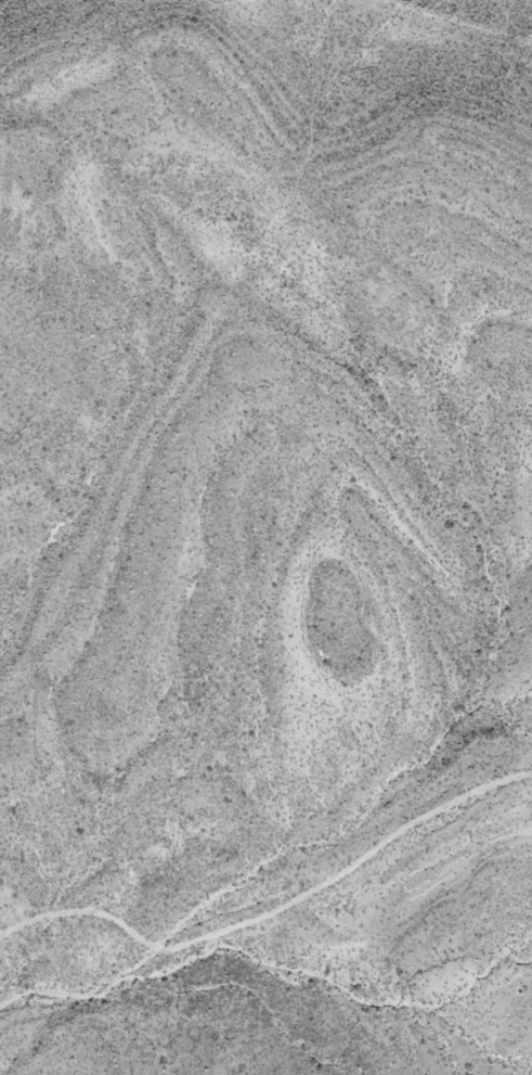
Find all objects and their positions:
road: (281, 923)

